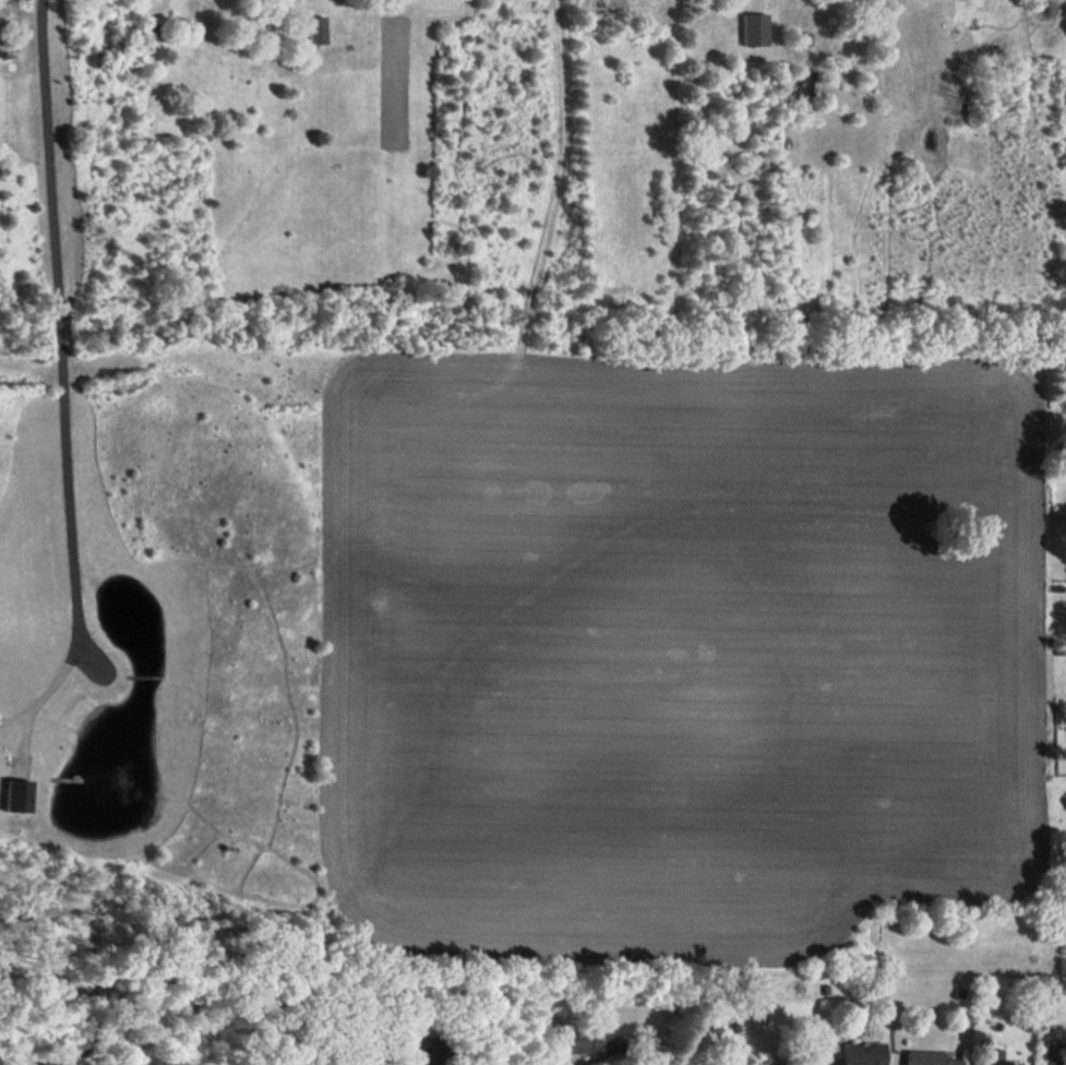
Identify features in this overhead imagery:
building: (316, 29)
building: (754, 29)
building: (804, 83)
road: (60, 380)
crop: (680, 648)
building: (15, 797)
road: (474, 1027)
building: (586, 1039)
building: (857, 1052)
building: (424, 1053)
building: (924, 1055)
building: (993, 1055)
building: (780, 1058)
building: (685, 1060)
building: (1051, 1061)

